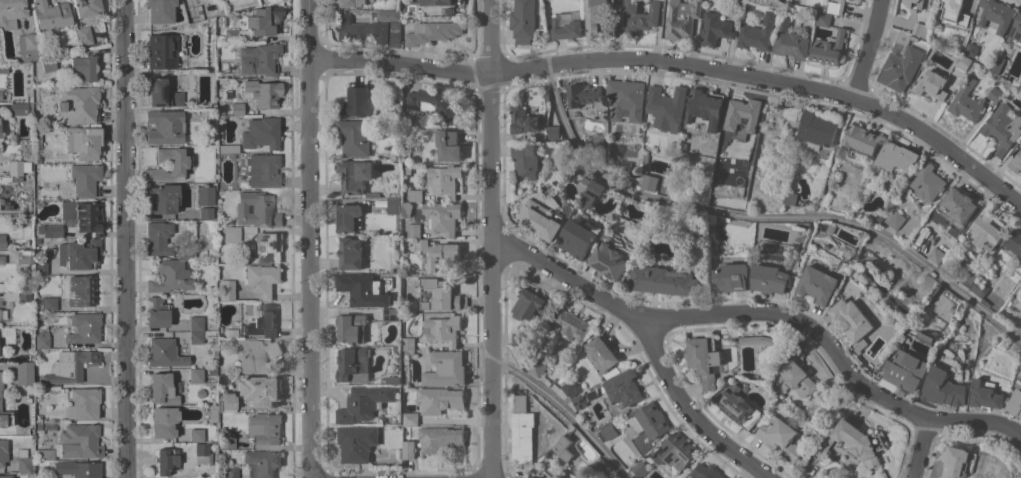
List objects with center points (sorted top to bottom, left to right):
building: (784, 1)
building: (350, 2)
building: (439, 2)
building: (736, 4)
building: (915, 4)
building: (837, 6)
building: (87, 8)
building: (160, 10)
building: (11, 13)
building: (957, 13)
building: (996, 13)
building: (51, 15)
building: (595, 16)
building: (641, 16)
building: (683, 17)
building: (823, 18)
building: (524, 20)
building: (785, 23)
building: (256, 24)
building: (568, 24)
building: (359, 28)
building: (716, 28)
building: (921, 28)
building: (1016, 30)
building: (432, 31)
building: (84, 32)
building: (759, 32)
building: (905, 37)
building: (394, 41)
building: (792, 43)
building: (27, 47)
building: (829, 47)
road: (867, 50)
building: (947, 50)
building: (162, 51)
building: (259, 59)
building: (963, 61)
building: (998, 63)
building: (48, 64)
road: (680, 66)
building: (901, 67)
building: (3, 68)
building: (84, 68)
building: (932, 83)
building: (1020, 83)
building: (191, 86)
building: (1014, 88)
building: (262, 93)
building: (995, 93)
building: (163, 94)
building: (228, 94)
building: (0, 95)
building: (547, 96)
building: (587, 96)
building: (628, 99)
building: (358, 101)
building: (967, 101)
building: (434, 102)
building: (78, 104)
building: (669, 107)
building: (21, 108)
building: (237, 109)
building: (705, 110)
building: (790, 112)
building: (744, 113)
building: (523, 119)
building: (164, 126)
building: (435, 126)
building: (1003, 127)
building: (817, 128)
building: (552, 131)
building: (261, 133)
building: (37, 136)
building: (356, 136)
building: (862, 139)
building: (83, 142)
building: (449, 144)
building: (228, 148)
building: (898, 156)
building: (526, 159)
building: (37, 160)
building: (646, 161)
building: (1016, 162)
building: (180, 164)
building: (14, 168)
building: (408, 168)
building: (263, 170)
building: (356, 174)
building: (15, 179)
building: (929, 180)
building: (81, 181)
building: (650, 181)
building: (439, 182)
building: (589, 189)
building: (373, 194)
building: (205, 195)
building: (790, 197)
building: (163, 198)
building: (394, 204)
building: (959, 207)
building: (407, 208)
building: (567, 208)
building: (256, 209)
building: (205, 213)
building: (83, 216)
building: (348, 216)
building: (443, 216)
road: (764, 216)
building: (27, 218)
building: (712, 218)
building: (540, 219)
building: (896, 219)
building: (831, 227)
building: (414, 229)
building: (987, 230)
building: (47, 231)
building: (232, 234)
building: (922, 234)
building: (158, 238)
road: (491, 238)
building: (577, 238)
road: (122, 239)
road: (309, 239)
building: (2, 241)
building: (422, 243)
building: (1015, 243)
building: (269, 246)
building: (796, 246)
building: (351, 252)
building: (936, 254)
building: (79, 255)
building: (443, 255)
building: (23, 257)
building: (2, 259)
building: (608, 260)
building: (40, 267)
building: (169, 276)
building: (732, 276)
building: (263, 278)
building: (771, 278)
building: (967, 278)
building: (664, 279)
building: (818, 283)
building: (365, 288)
building: (979, 288)
building: (227, 290)
building: (81, 291)
building: (441, 294)
building: (24, 295)
building: (49, 303)
building: (397, 303)
building: (532, 303)
building: (952, 308)
road: (767, 312)
building: (156, 313)
building: (392, 313)
building: (0, 314)
building: (38, 316)
building: (852, 318)
building: (263, 321)
building: (196, 323)
building: (571, 323)
building: (352, 327)
building: (83, 328)
building: (444, 328)
building: (196, 336)
building: (519, 338)
building: (41, 339)
building: (759, 339)
building: (409, 344)
building: (397, 348)
building: (539, 351)
building: (164, 353)
building: (602, 353)
building: (39, 354)
building: (255, 354)
building: (705, 359)
building: (355, 364)
building: (71, 366)
building: (537, 367)
building: (445, 368)
building: (906, 369)
building: (212, 372)
building: (23, 373)
building: (799, 374)
building: (195, 375)
building: (394, 379)
building: (1, 380)
building: (571, 386)
building: (625, 387)
building: (944, 387)
building: (783, 388)
building: (162, 389)
building: (260, 390)
building: (200, 393)
building: (592, 393)
building: (986, 393)
building: (440, 398)
building: (579, 400)
building: (365, 402)
building: (1015, 402)
building: (83, 403)
building: (226, 403)
building: (738, 405)
road: (568, 409)
road: (689, 412)
building: (212, 413)
building: (380, 413)
building: (410, 417)
building: (5, 419)
building: (650, 419)
building: (163, 421)
building: (38, 426)
building: (265, 427)
building: (523, 430)
building: (609, 430)
building: (196, 435)
building: (781, 436)
building: (225, 438)
building: (440, 438)
building: (357, 441)
building: (857, 441)
building: (79, 442)
building: (563, 446)
building: (409, 448)
road: (921, 448)
building: (677, 450)
building: (202, 453)
building: (44, 454)
building: (8, 455)
building: (166, 460)
building: (958, 461)
building: (263, 462)
building: (598, 463)
building: (639, 467)
building: (77, 469)
building: (230, 471)
building: (708, 471)
building: (5, 476)
building: (558, 476)
building: (534, 477)
building: (552, 477)
building: (641, 477)
building: (734, 477)
building: (736, 477)

